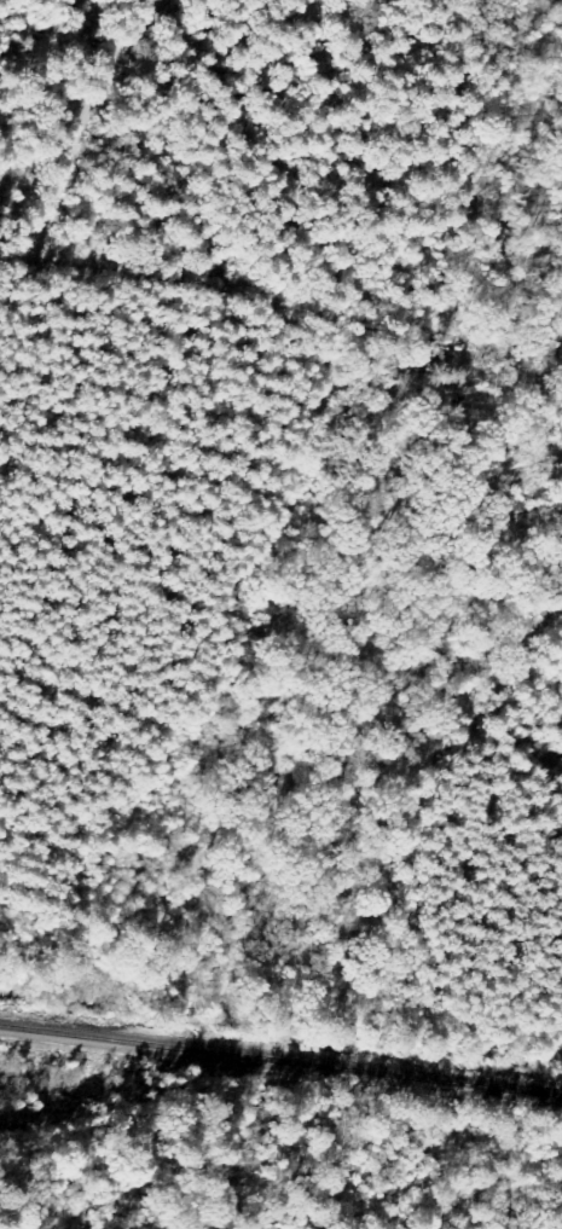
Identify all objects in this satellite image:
railway: (280, 1060)

